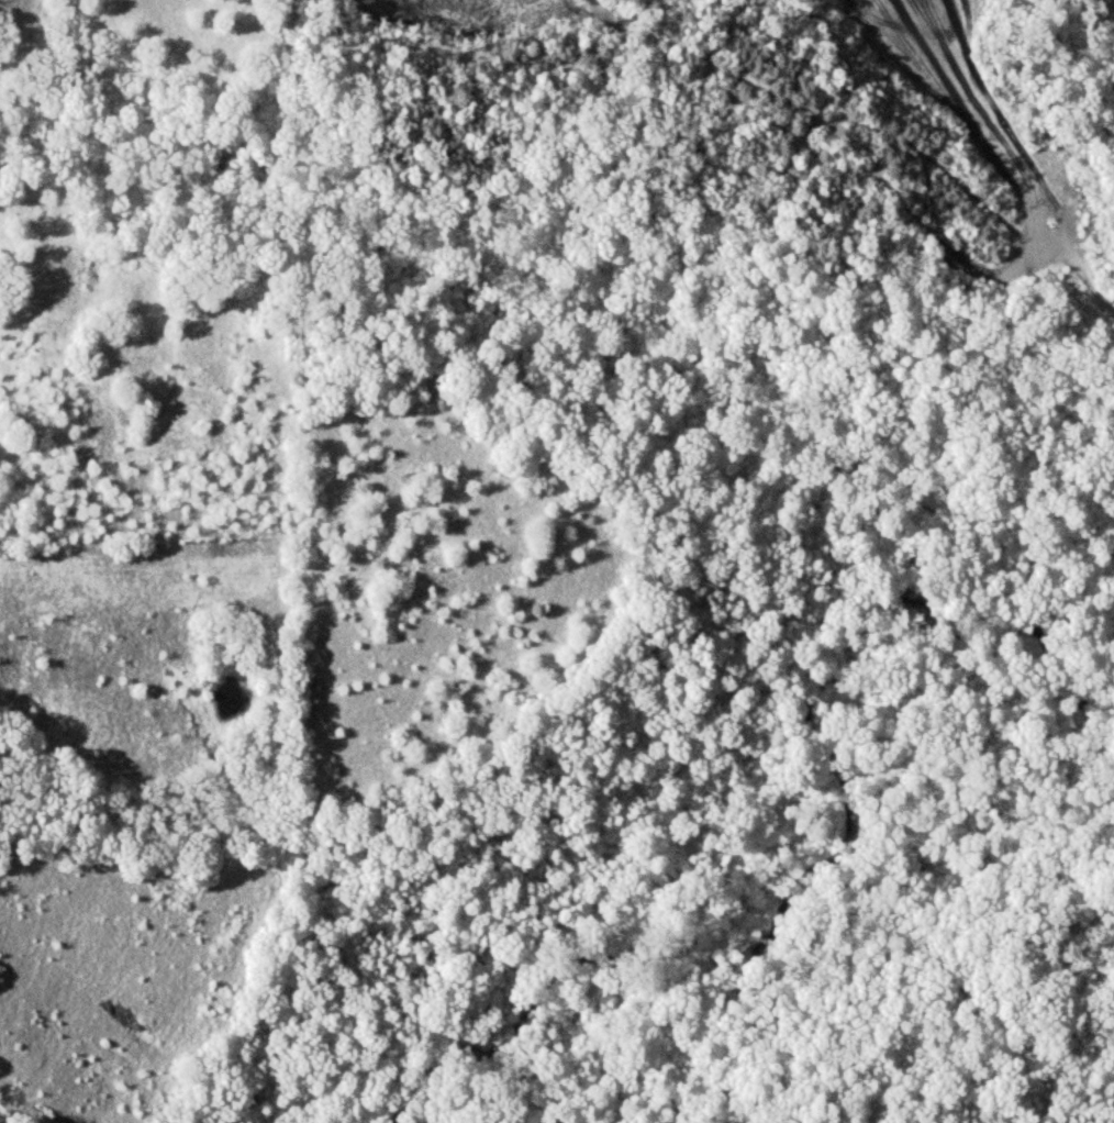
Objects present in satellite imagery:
road: (1111, 7)

